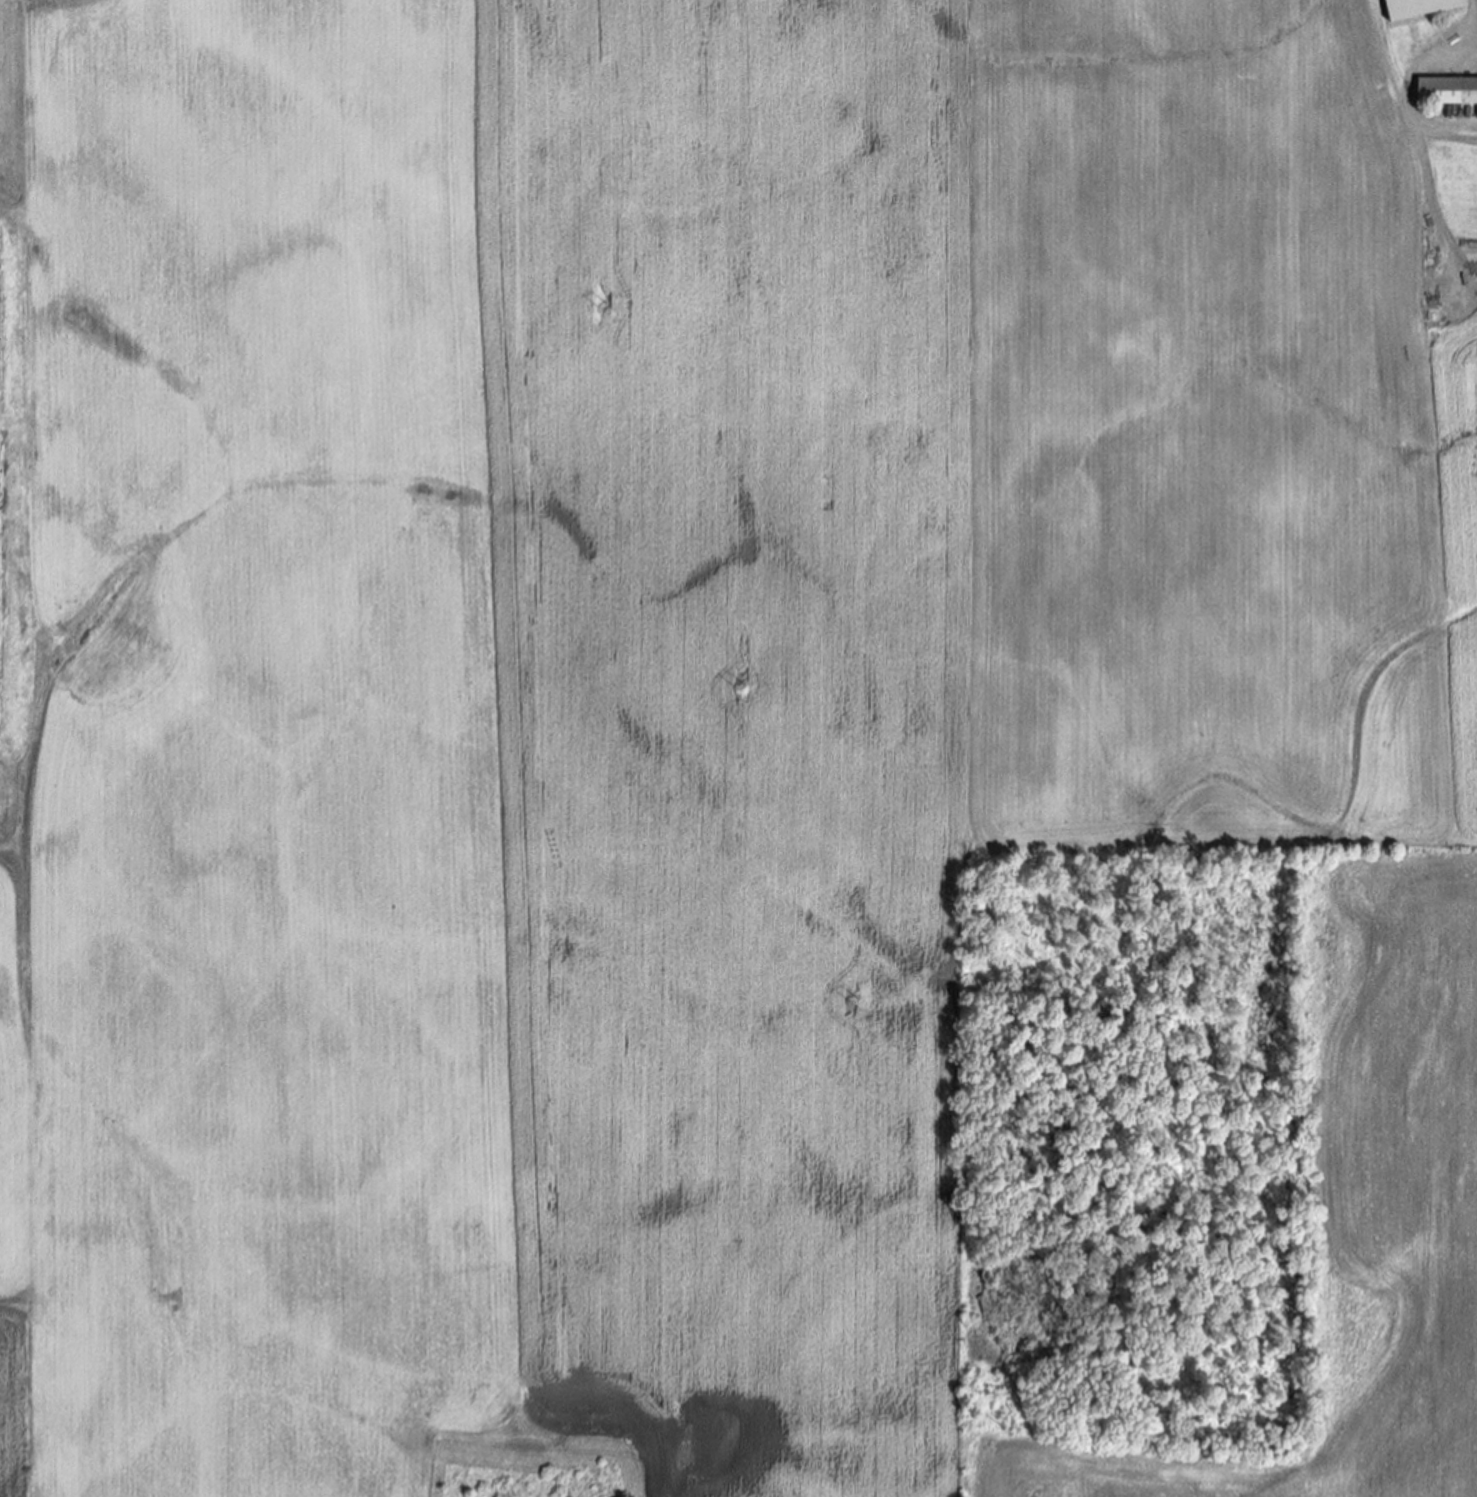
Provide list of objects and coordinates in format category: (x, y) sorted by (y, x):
building: (1419, 8)
road: (1475, 8)
building: (1447, 92)
power tower: (604, 306)
power tower: (740, 687)
power tower: (852, 999)
power tower: (1005, 1429)

